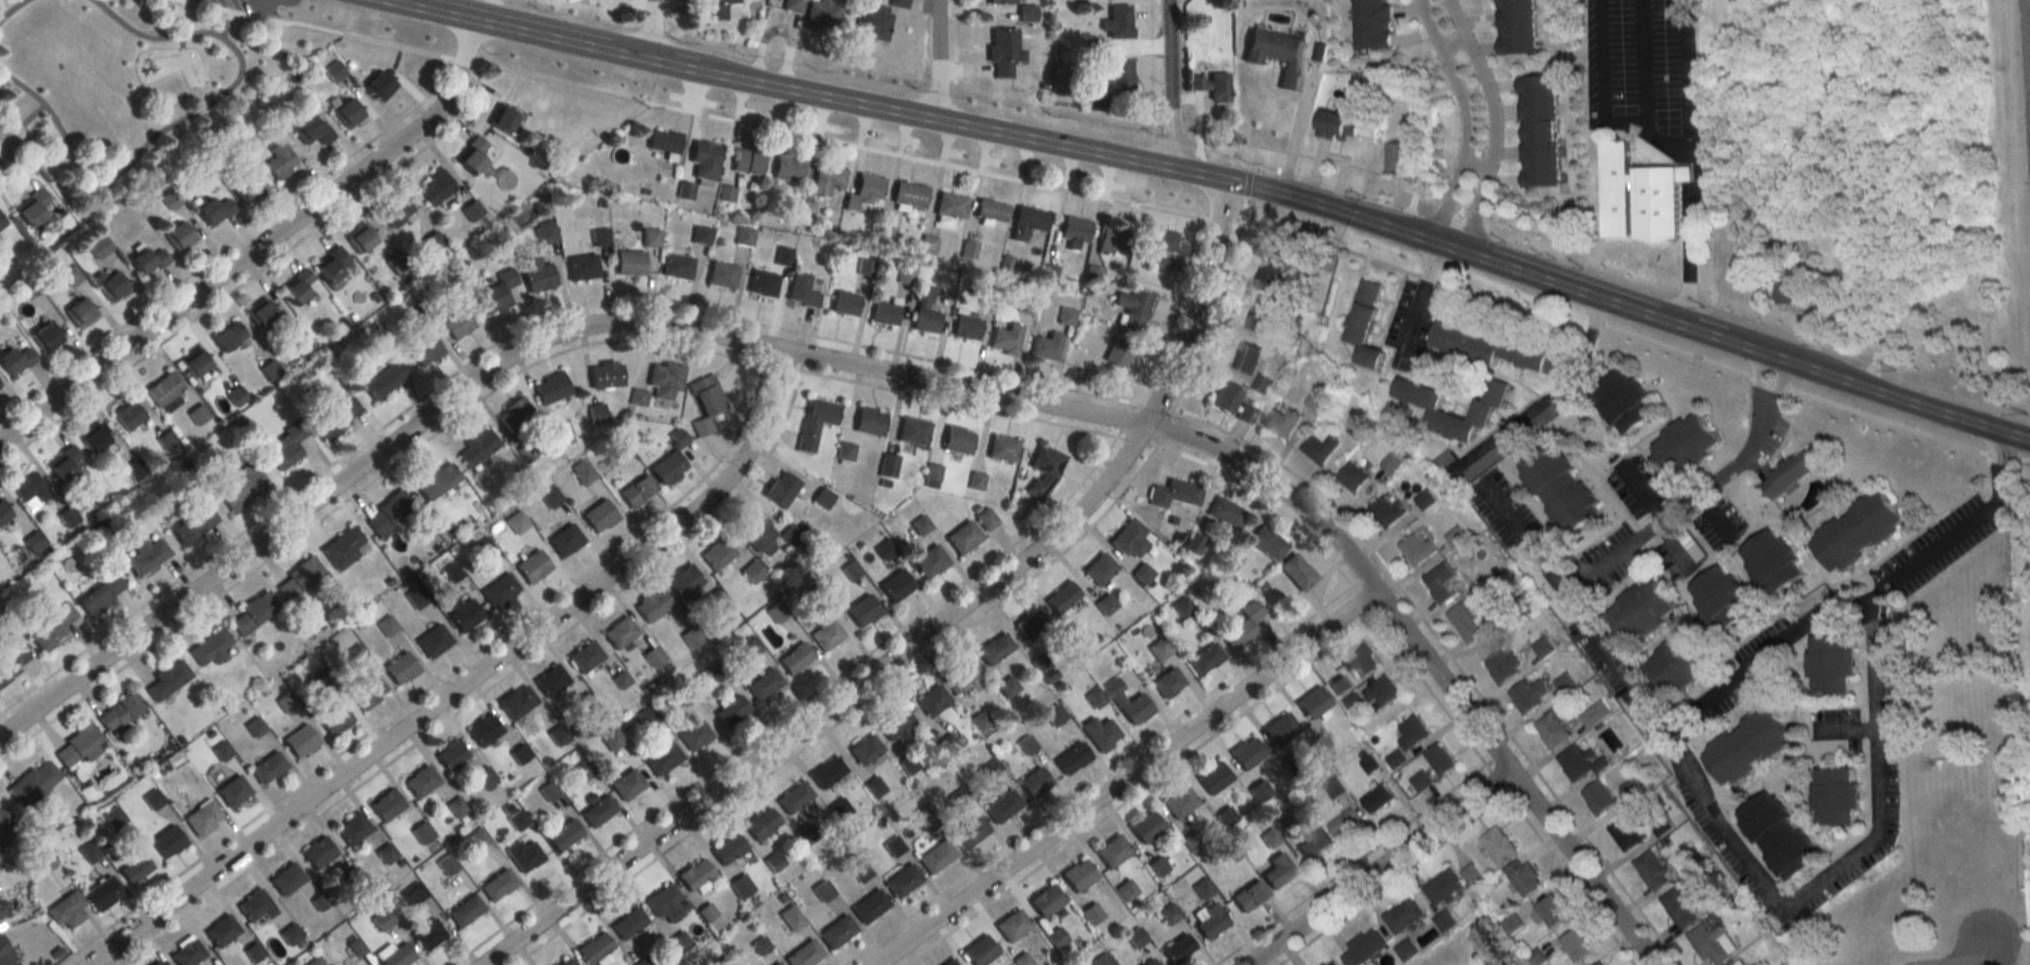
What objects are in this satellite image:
road: (397, 2)
building: (1003, 2)
building: (897, 3)
road: (11, 9)
building: (718, 9)
building: (1026, 14)
building: (820, 15)
building: (872, 22)
building: (1117, 22)
building: (1370, 24)
building: (1514, 27)
road: (651, 31)
road: (166, 37)
road: (182, 41)
road: (1450, 44)
building: (1002, 52)
building: (1276, 54)
road: (1599, 58)
road: (935, 62)
road: (1642, 66)
building: (334, 72)
road: (1686, 75)
park: (143, 79)
building: (1111, 82)
road: (1169, 83)
building: (378, 86)
building: (1212, 86)
road: (41, 106)
building: (347, 113)
road: (1466, 117)
building: (501, 119)
road: (1493, 121)
building: (1337, 127)
building: (310, 131)
building: (1538, 131)
road: (1296, 134)
road: (150, 142)
building: (663, 142)
building: (477, 143)
road: (29, 147)
building: (1397, 159)
road: (1476, 160)
building: (280, 161)
building: (470, 161)
building: (704, 161)
building: (747, 162)
building: (787, 169)
road: (1216, 177)
building: (826, 179)
building: (435, 187)
building: (245, 189)
road: (1683, 191)
building: (864, 192)
building: (1641, 192)
building: (909, 195)
road: (1098, 197)
building: (950, 206)
building: (33, 209)
building: (471, 210)
building: (213, 211)
building: (990, 211)
building: (395, 212)
building: (1029, 222)
building: (1, 224)
building: (1074, 229)
building: (545, 233)
building: (700, 235)
building: (179, 236)
building: (744, 236)
building: (650, 238)
building: (360, 239)
building: (1157, 239)
building: (1113, 240)
building: (433, 242)
building: (97, 247)
road: (259, 248)
building: (782, 256)
building: (146, 261)
building: (1162, 261)
building: (629, 263)
building: (677, 266)
building: (331, 267)
building: (582, 267)
building: (1093, 274)
building: (721, 275)
building: (1268, 275)
building: (71, 276)
building: (537, 276)
building: (761, 283)
building: (112, 286)
building: (298, 287)
building: (802, 291)
building: (497, 292)
building: (1785, 292)
building: (1132, 303)
road: (1418, 303)
building: (844, 304)
building: (1027, 305)
building: (924, 312)
building: (81, 313)
building: (884, 313)
building: (260, 314)
building: (1261, 315)
building: (1067, 316)
building: (1364, 324)
building: (458, 325)
building: (966, 328)
building: (228, 336)
building: (45, 337)
building: (1005, 339)
building: (304, 346)
building: (1046, 346)
building: (423, 350)
building: (1496, 350)
building: (1118, 353)
road: (515, 355)
building: (1246, 358)
building: (15, 361)
building: (193, 364)
building: (605, 375)
building: (665, 380)
building: (385, 381)
building: (1261, 384)
building: (551, 388)
building: (163, 389)
building: (1225, 397)
road: (1551, 397)
building: (638, 398)
building: (1315, 399)
building: (1624, 402)
building: (706, 403)
building: (1481, 410)
building: (597, 413)
building: (1245, 413)
building: (128, 414)
building: (198, 415)
building: (515, 417)
building: (337, 418)
building: (868, 421)
building: (815, 422)
building: (1281, 423)
building: (560, 430)
building: (913, 431)
building: (676, 438)
building: (94, 439)
building: (167, 440)
building: (957, 440)
building: (1319, 444)
building: (1685, 445)
building: (287, 446)
building: (476, 447)
building: (1002, 448)
building: (844, 453)
building: (67, 466)
building: (887, 466)
building: (667, 468)
building: (135, 469)
building: (1043, 471)
building: (582, 472)
building: (1788, 473)
building: (1351, 477)
building: (435, 480)
building: (976, 480)
building: (243, 486)
building: (780, 488)
building: (1558, 488)
building: (29, 490)
building: (636, 492)
building: (1174, 493)
road: (1697, 496)
building: (822, 497)
building: (1387, 511)
building: (3, 512)
building: (1226, 513)
building: (387, 515)
building: (598, 516)
building: (985, 518)
building: (920, 524)
building: (194, 525)
building: (754, 529)
building: (1855, 532)
building: (963, 536)
building: (1455, 537)
building: (1129, 538)
building: (565, 540)
building: (1267, 542)
building: (1194, 543)
road: (1522, 546)
building: (344, 548)
building: (1416, 549)
building: (717, 553)
building: (147, 556)
building: (1230, 559)
building: (929, 561)
building: (1771, 561)
building: (532, 566)
building: (1099, 569)
building: (751, 571)
building: (1297, 571)
building: (1142, 573)
building: (301, 577)
building: (683, 580)
building: (1439, 582)
building: (895, 584)
building: (500, 591)
building: (100, 595)
building: (1061, 597)
building: (1721, 597)
road: (1858, 603)
building: (651, 604)
building: (1105, 604)
building: (1182, 607)
building: (862, 610)
building: (1640, 610)
building: (254, 614)
building: (464, 615)
building: (1465, 623)
building: (1031, 625)
building: (1243, 627)
building: (51, 629)
road: (931, 629)
building: (619, 632)
building: (826, 634)
building: (433, 641)
building: (1543, 647)
building: (211, 648)
building: (994, 648)
building: (1159, 649)
building: (584, 656)
building: (653, 656)
building: (10, 657)
building: (794, 658)
building: (1205, 658)
road: (1429, 659)
building: (1359, 662)
building: (1679, 662)
building: (1040, 663)
building: (1830, 663)
building: (1502, 665)
building: (399, 668)
road: (1613, 670)
building: (964, 677)
building: (168, 679)
building: (551, 680)
building: (1167, 682)
building: (1564, 683)
road: (467, 684)
building: (763, 684)
building: (1339, 685)
building: (368, 690)
building: (1381, 691)
building: (1528, 694)
building: (931, 700)
building: (517, 701)
building: (1351, 701)
building: (1127, 702)
building: (1313, 702)
building: (731, 711)
building: (119, 712)
building: (647, 716)
building: (334, 718)
building: (981, 721)
building: (895, 726)
building: (1280, 728)
building: (483, 729)
building: (1551, 729)
building: (1099, 732)
building: (1412, 732)
building: (694, 734)
building: (612, 739)
building: (300, 740)
building: (1748, 744)
building: (946, 745)
building: (1829, 745)
building: (78, 746)
building: (864, 748)
building: (1247, 753)
building: (450, 754)
building: (521, 754)
building: (663, 758)
building: (1071, 758)
building: (1395, 758)
building: (1439, 759)
building: (1578, 762)
building: (907, 764)
building: (1370, 764)
building: (268, 766)
building: (583, 770)
building: (826, 771)
road: (1124, 776)
building: (484, 777)
building: (1212, 777)
building: (420, 780)
building: (1420, 780)
building: (1034, 782)
building: (34, 783)
building: (627, 783)
building: (873, 787)
building: (233, 790)
building: (1259, 790)
building: (1835, 795)
building: (793, 797)
building: (1597, 797)
building: (1377, 798)
building: (1179, 801)
building: (386, 805)
building: (1002, 806)
building: (597, 810)
building: (203, 818)
building: (927, 822)
building: (761, 823)
building: (1344, 823)
building: (3, 824)
building: (1145, 827)
building: (352, 828)
building: (968, 831)
building: (421, 832)
building: (1625, 833)
building: (563, 834)
building: (806, 835)
building: (1778, 835)
building: (167, 841)
building: (1315, 845)
building: (1498, 845)
building: (727, 848)
building: (1112, 851)
building: (318, 852)
building: (386, 853)
building: (523, 855)
building: (935, 856)
building: (773, 861)
building: (447, 864)
road: (1375, 865)
road: (1843, 865)
building: (135, 867)
building: (1651, 870)
building: (1277, 871)
building: (860, 872)
building: (694, 874)
building: (1471, 874)
building: (1077, 875)
building: (1522, 876)
building: (286, 878)
building: (901, 880)
building: (497, 885)
building: (740, 886)
building: (1443, 886)
building: (102, 893)
building: (1249, 896)
building: (1045, 900)
building: (664, 903)
building: (255, 905)
building: (869, 906)
building: (1680, 907)
building: (3, 910)
building: (66, 910)
building: (464, 910)
building: (1551, 910)
building: (706, 912)
building: (1091, 913)
building: (1169, 913)
building: (1403, 915)
building: (1209, 919)
building: (1444, 920)
building: (628, 923)
building: (1011, 925)
building: (221, 930)
building: (836, 931)
building: (290, 934)
building: (427, 934)
building: (1056, 937)
building: (1135, 937)
building: (679, 942)
building: (1711, 943)
building: (1575, 945)
building: (1363, 946)
building: (355, 947)
building: (594, 947)
building: (1177, 948)
building: (979, 950)
building: (4, 952)
building: (186, 952)
building: (252, 952)
road: (1966, 952)
building: (803, 954)
building: (397, 956)
building: (1102, 960)
building: (566, 961)
building: (722, 961)
building: (315, 962)
building: (643, 962)
building: (1148, 962)
building: (1331, 962)
building: (155, 963)
building: (775, 963)
building: (950, 963)
building: (1599, 963)

